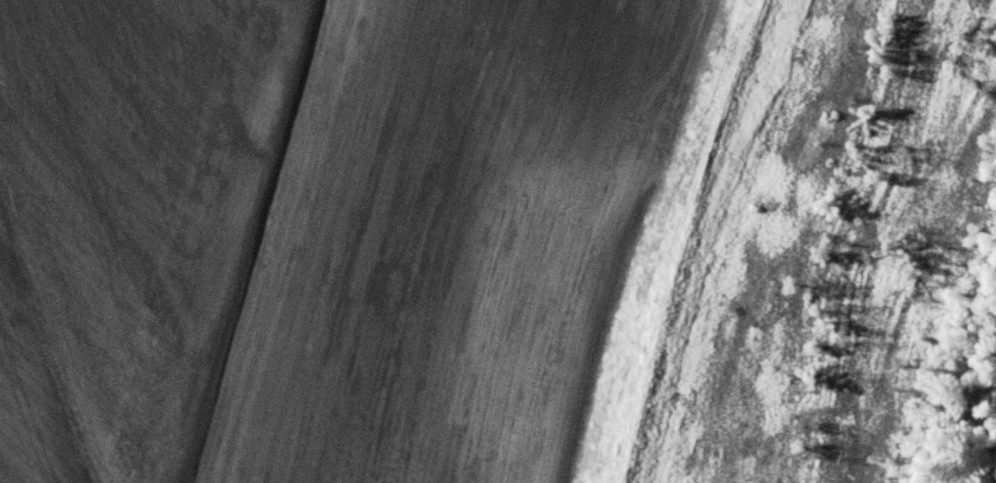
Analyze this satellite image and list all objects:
road: (716, 235)

